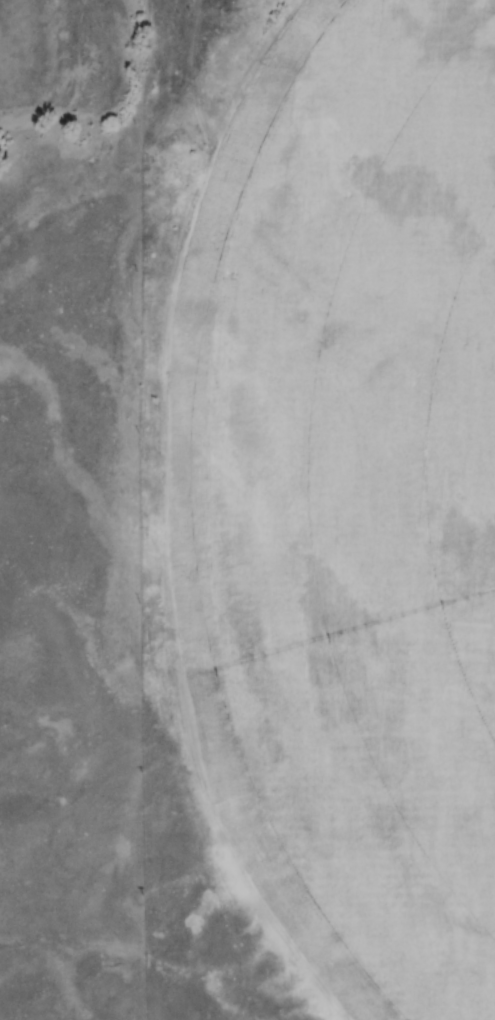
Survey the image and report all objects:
crop: (343, 497)

